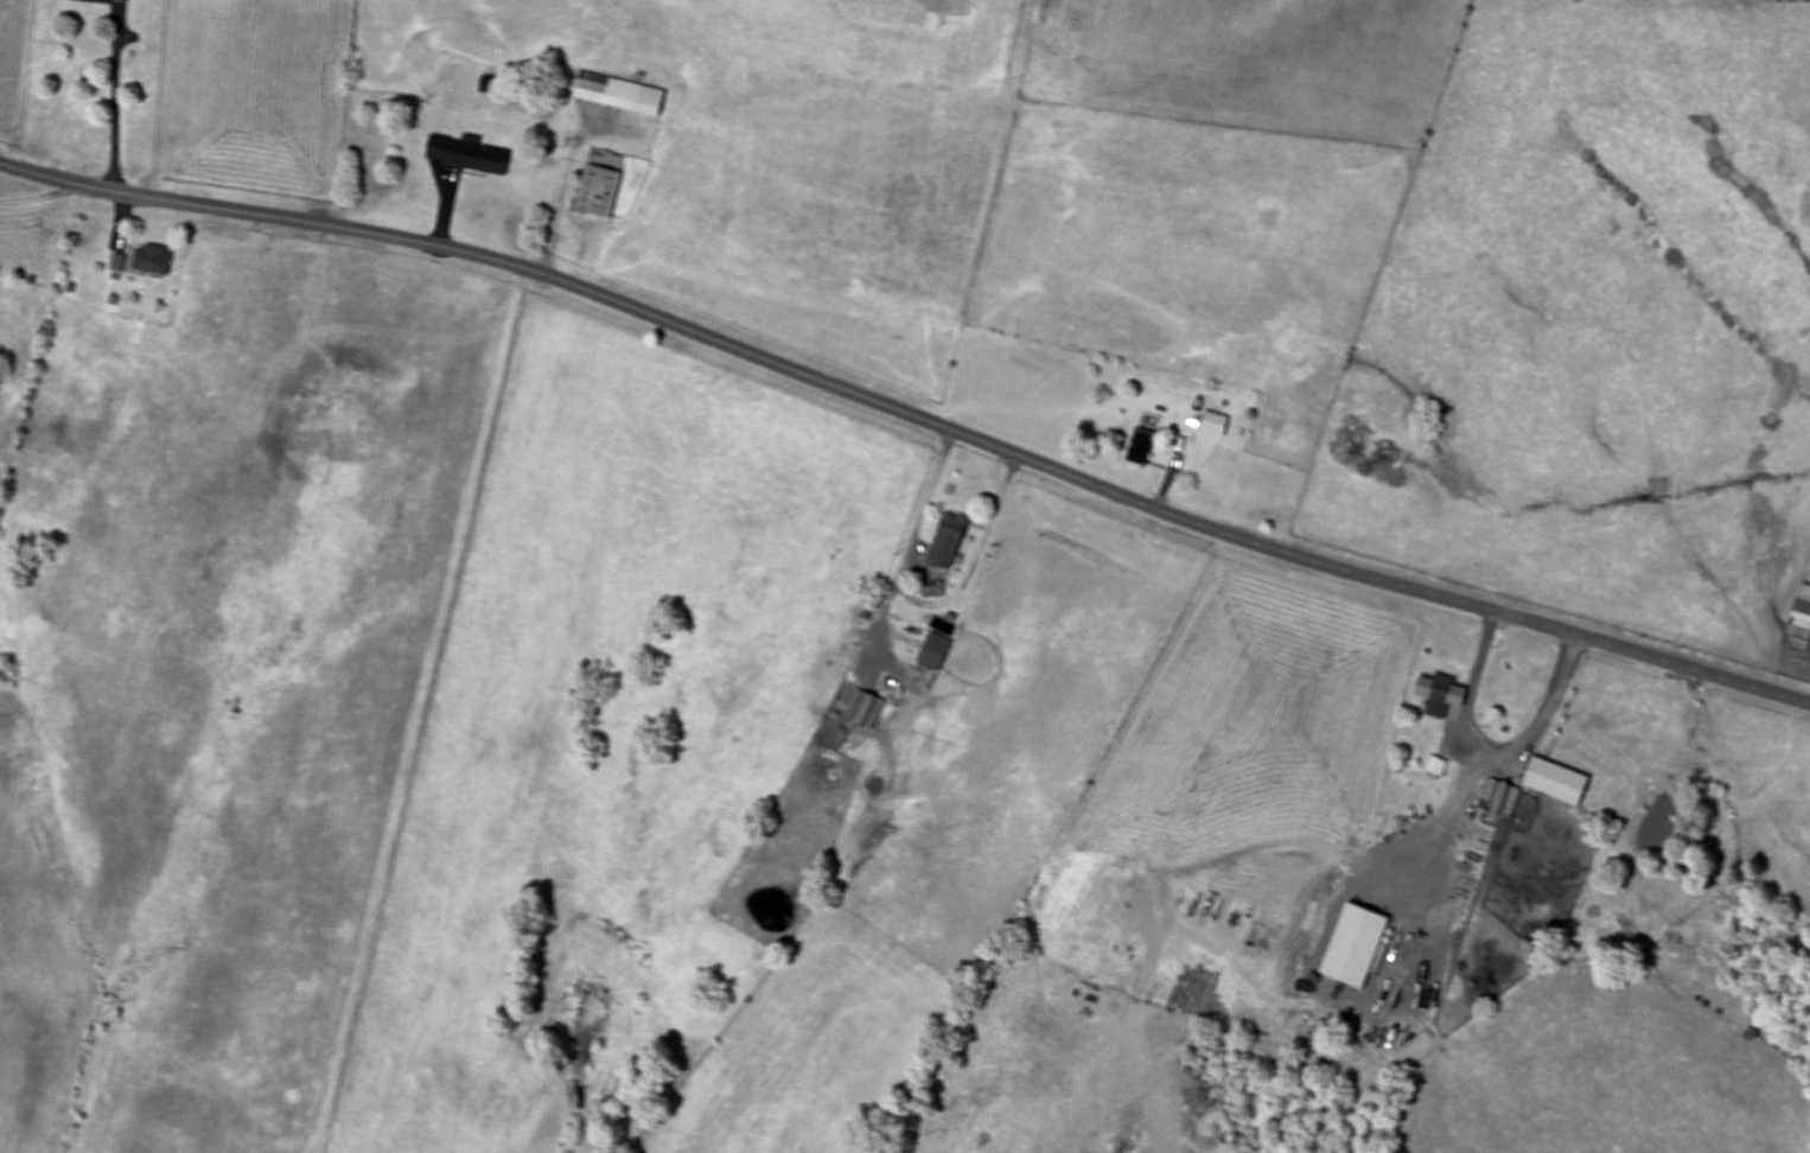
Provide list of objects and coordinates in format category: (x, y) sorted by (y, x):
building: (102, 1)
building: (620, 94)
building: (469, 155)
building: (598, 191)
building: (153, 260)
road: (909, 413)
building: (1215, 425)
building: (1141, 446)
building: (948, 541)
building: (1801, 616)
building: (933, 652)
building: (1441, 697)
building: (862, 708)
building: (1441, 769)
building: (1562, 783)
building: (1500, 798)

